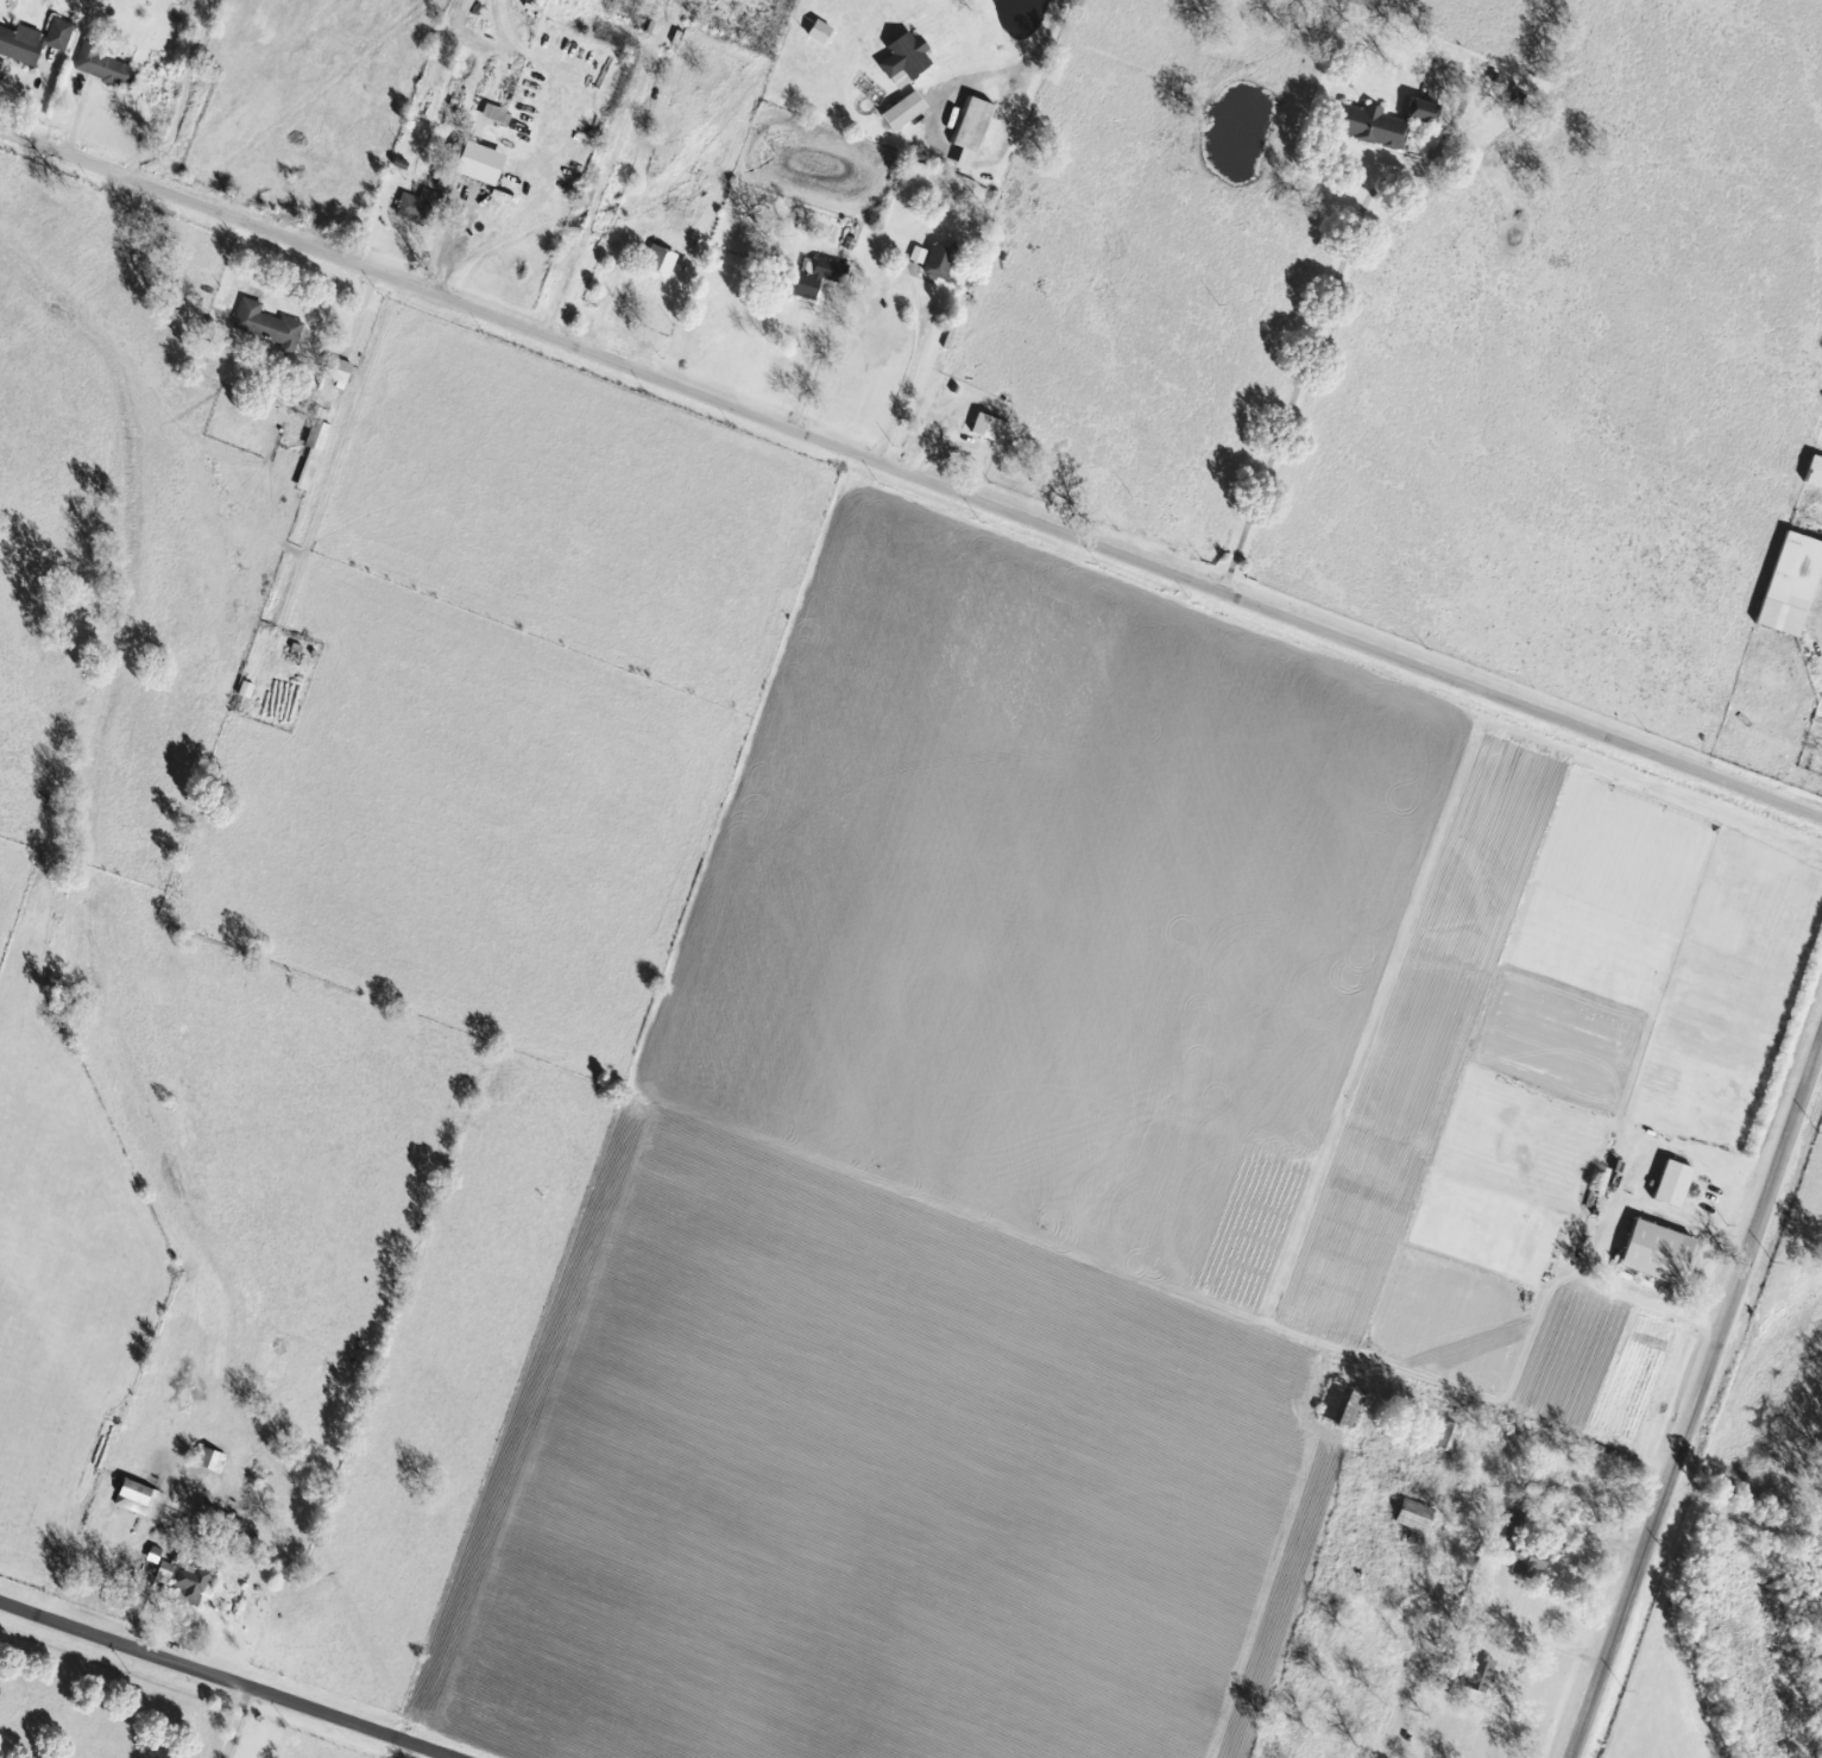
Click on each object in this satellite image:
building: (36, 42)
road: (1039, 43)
building: (910, 61)
building: (108, 69)
road: (19, 87)
road: (37, 99)
road: (182, 99)
building: (909, 112)
building: (1429, 113)
road: (68, 114)
building: (1377, 127)
building: (977, 133)
road: (609, 181)
building: (490, 202)
building: (422, 208)
road: (450, 245)
building: (923, 257)
road: (267, 262)
building: (942, 263)
building: (663, 265)
building: (825, 279)
road: (359, 314)
building: (273, 328)
road: (1315, 361)
road: (908, 374)
road: (815, 378)
building: (994, 428)
building: (317, 455)
road: (910, 474)
building: (1817, 475)
building: (1797, 587)
building: (251, 691)
building: (1679, 1184)
building: (1664, 1253)
road: (1697, 1399)
building: (1451, 1438)
building: (219, 1461)
building: (145, 1500)
building: (1420, 1517)
building: (1532, 1567)
building: (196, 1586)
building: (1486, 1674)
road: (228, 1678)
road: (234, 1721)

